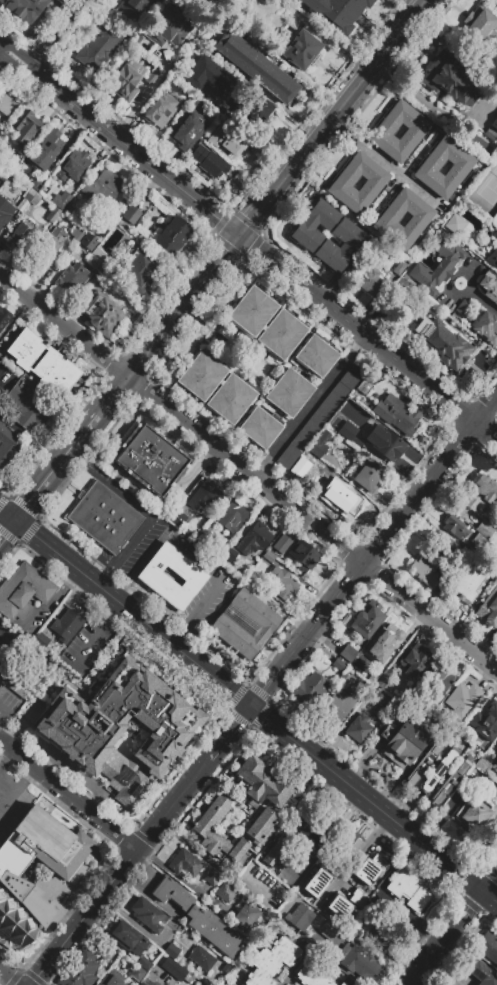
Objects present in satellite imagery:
building: (65, 0)
building: (138, 5)
building: (24, 9)
building: (337, 12)
building: (169, 27)
building: (481, 28)
road: (58, 35)
road: (322, 35)
building: (99, 46)
road: (1, 49)
building: (301, 50)
road: (1, 51)
building: (237, 52)
road: (19, 55)
road: (13, 63)
building: (209, 76)
building: (126, 79)
building: (449, 79)
building: (275, 82)
road: (150, 87)
building: (6, 104)
building: (255, 105)
building: (159, 109)
road: (333, 117)
building: (494, 123)
building: (25, 126)
building: (383, 131)
building: (187, 132)
building: (490, 133)
building: (226, 137)
building: (46, 148)
road: (136, 152)
road: (383, 160)
building: (209, 162)
building: (9, 163)
building: (73, 165)
building: (428, 167)
building: (3, 174)
building: (36, 183)
building: (373, 183)
building: (103, 186)
park: (489, 187)
building: (32, 197)
building: (61, 199)
building: (5, 211)
building: (131, 214)
building: (53, 215)
building: (419, 219)
building: (453, 223)
building: (76, 232)
building: (21, 235)
building: (172, 235)
traffic signals: (241, 235)
building: (494, 235)
building: (307, 238)
building: (88, 241)
building: (46, 247)
building: (480, 250)
building: (494, 256)
building: (95, 258)
building: (399, 267)
building: (437, 267)
building: (140, 272)
road: (463, 275)
building: (72, 278)
building: (372, 278)
building: (400, 285)
building: (489, 290)
road: (481, 300)
road: (184, 304)
building: (384, 308)
building: (102, 315)
building: (4, 320)
building: (248, 321)
road: (64, 323)
building: (485, 327)
road: (369, 336)
building: (445, 343)
building: (316, 355)
building: (41, 362)
road: (2, 373)
parking lot: (6, 381)
building: (198, 386)
building: (365, 389)
building: (288, 392)
road: (112, 395)
road: (310, 405)
building: (30, 406)
building: (397, 414)
building: (319, 416)
building: (260, 426)
building: (350, 432)
road: (28, 438)
building: (385, 443)
building: (320, 444)
building: (8, 448)
road: (73, 458)
building: (150, 459)
building: (305, 464)
road: (53, 466)
road: (192, 472)
building: (367, 475)
parking lot: (121, 489)
building: (482, 494)
building: (209, 495)
building: (340, 498)
road: (6, 512)
road: (142, 512)
building: (104, 517)
building: (233, 517)
traffic signals: (12, 518)
building: (179, 520)
road: (312, 522)
road: (5, 525)
road: (390, 526)
building: (455, 526)
building: (485, 528)
building: (254, 538)
building: (207, 540)
building: (479, 540)
building: (281, 543)
building: (444, 545)
building: (303, 554)
building: (230, 556)
building: (268, 556)
road: (190, 558)
building: (496, 561)
building: (424, 568)
building: (451, 573)
road: (69, 574)
building: (151, 576)
road: (102, 579)
building: (33, 583)
building: (281, 583)
building: (468, 585)
road: (79, 591)
road: (117, 592)
building: (13, 601)
road: (43, 607)
building: (489, 608)
road: (115, 611)
road: (130, 612)
building: (367, 619)
building: (244, 623)
road: (11, 624)
building: (66, 625)
building: (387, 637)
road: (177, 639)
building: (41, 643)
parking lot: (9, 644)
road: (90, 644)
parking lot: (93, 648)
road: (6, 653)
building: (348, 653)
building: (414, 661)
building: (338, 664)
building: (439, 677)
building: (22, 679)
building: (342, 680)
road: (267, 683)
building: (309, 691)
building: (463, 700)
traffic signals: (251, 706)
road: (5, 707)
parking lot: (8, 707)
building: (336, 707)
building: (486, 722)
road: (27, 725)
building: (359, 728)
building: (119, 730)
road: (230, 732)
building: (402, 742)
building: (495, 743)
road: (6, 754)
road: (1, 760)
building: (496, 760)
building: (423, 763)
building: (482, 765)
building: (496, 769)
building: (438, 770)
road: (31, 774)
road: (82, 779)
building: (451, 781)
building: (262, 783)
road: (187, 787)
road: (68, 794)
road: (13, 795)
parking lot: (13, 799)
road: (365, 799)
building: (477, 815)
building: (264, 824)
building: (318, 829)
road: (150, 831)
building: (346, 850)
building: (275, 852)
road: (212, 860)
building: (185, 863)
road: (145, 867)
building: (316, 872)
road: (173, 877)
building: (212, 877)
building: (361, 878)
road: (488, 880)
building: (13, 881)
building: (409, 889)
building: (225, 893)
road: (148, 896)
road: (489, 897)
building: (338, 906)
building: (148, 914)
building: (246, 915)
road: (83, 916)
road: (410, 916)
building: (300, 917)
building: (199, 918)
road: (129, 921)
building: (328, 930)
building: (384, 936)
road: (86, 938)
building: (128, 938)
road: (445, 938)
road: (107, 939)
building: (488, 946)
building: (105, 951)
building: (171, 951)
building: (201, 958)
road: (386, 958)
building: (272, 960)
road: (330, 961)
building: (358, 961)
building: (144, 963)
building: (80, 970)
road: (448, 970)
building: (178, 972)
building: (137, 973)
building: (311, 973)
building: (482, 974)
road: (7, 978)
building: (113, 978)
building: (141, 983)
building: (137, 984)
building: (342, 984)

